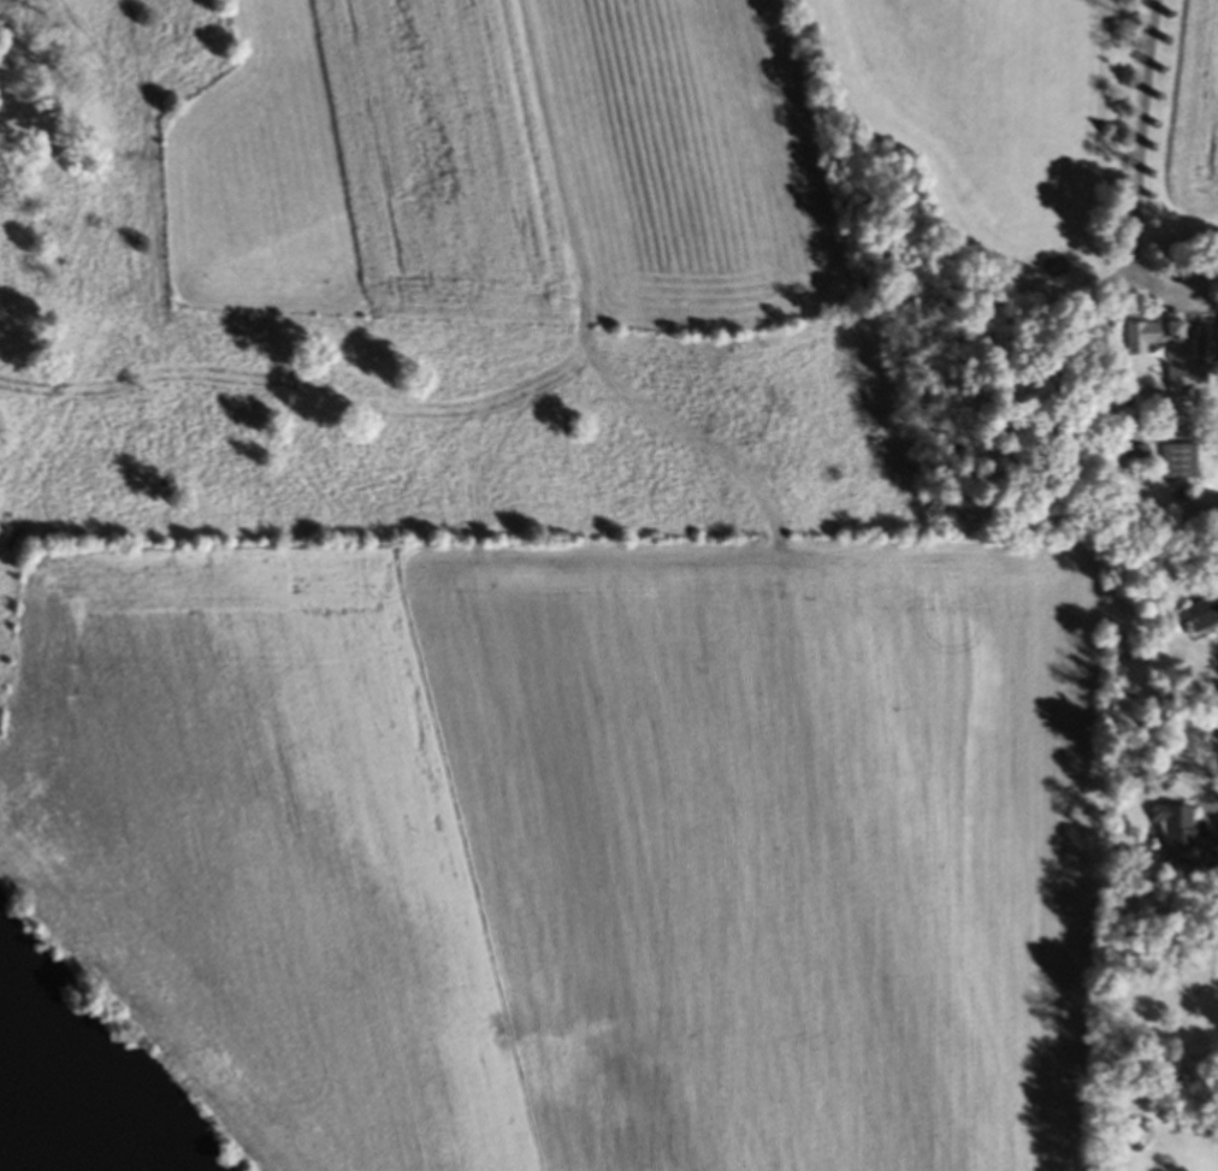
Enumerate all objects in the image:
road: (1143, 134)
building: (1171, 351)
building: (1181, 465)
building: (1202, 615)
road: (1213, 799)
river: (39, 1119)

